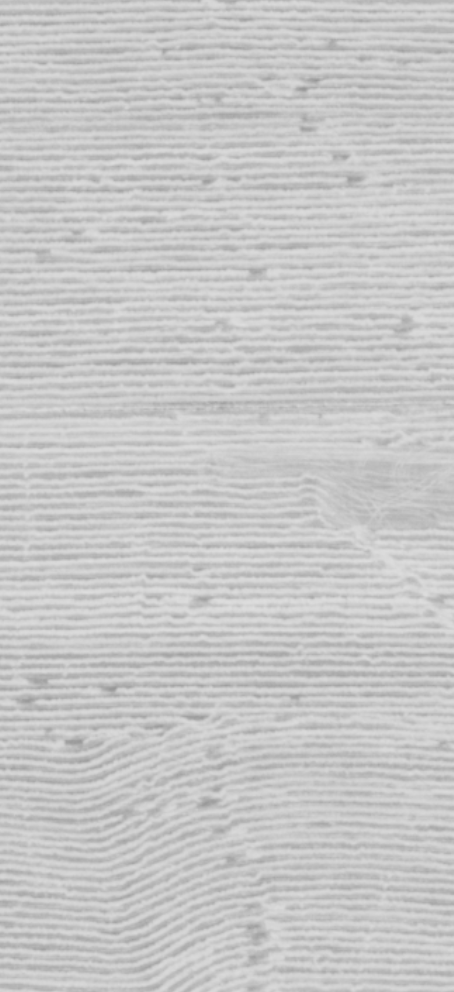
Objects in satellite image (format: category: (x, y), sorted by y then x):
crop: (227, 496)

